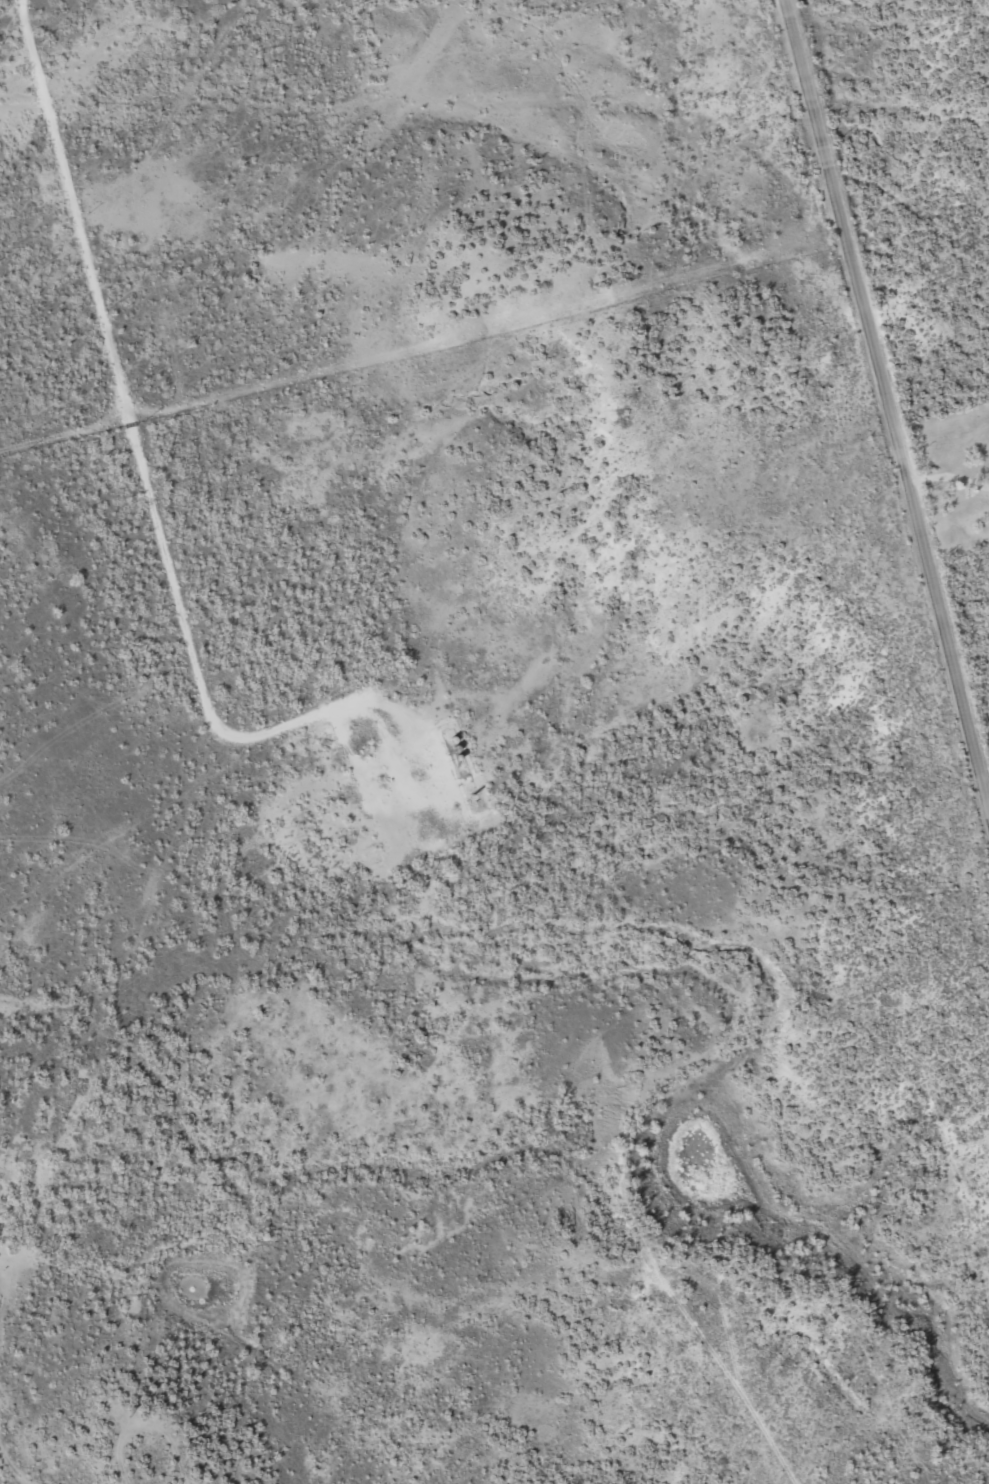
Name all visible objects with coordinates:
road: (874, 407)

